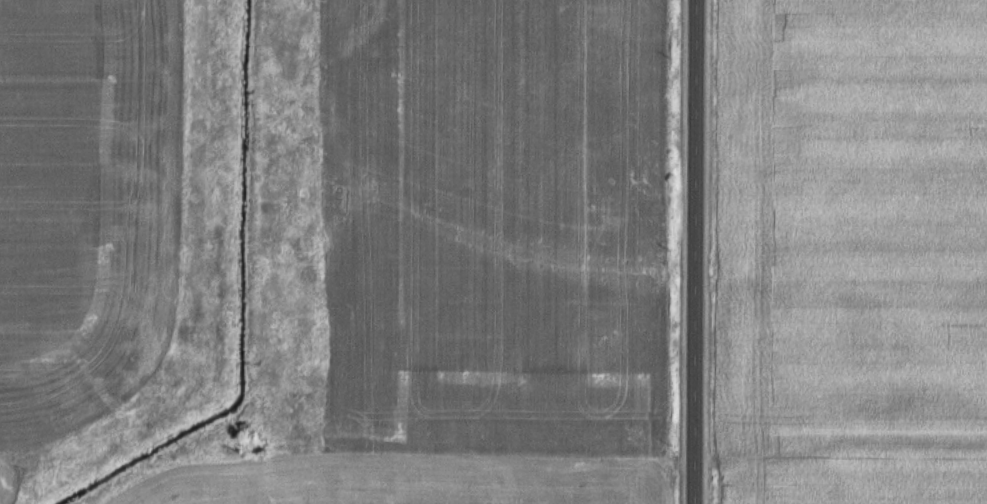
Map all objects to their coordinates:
road: (693, 252)

